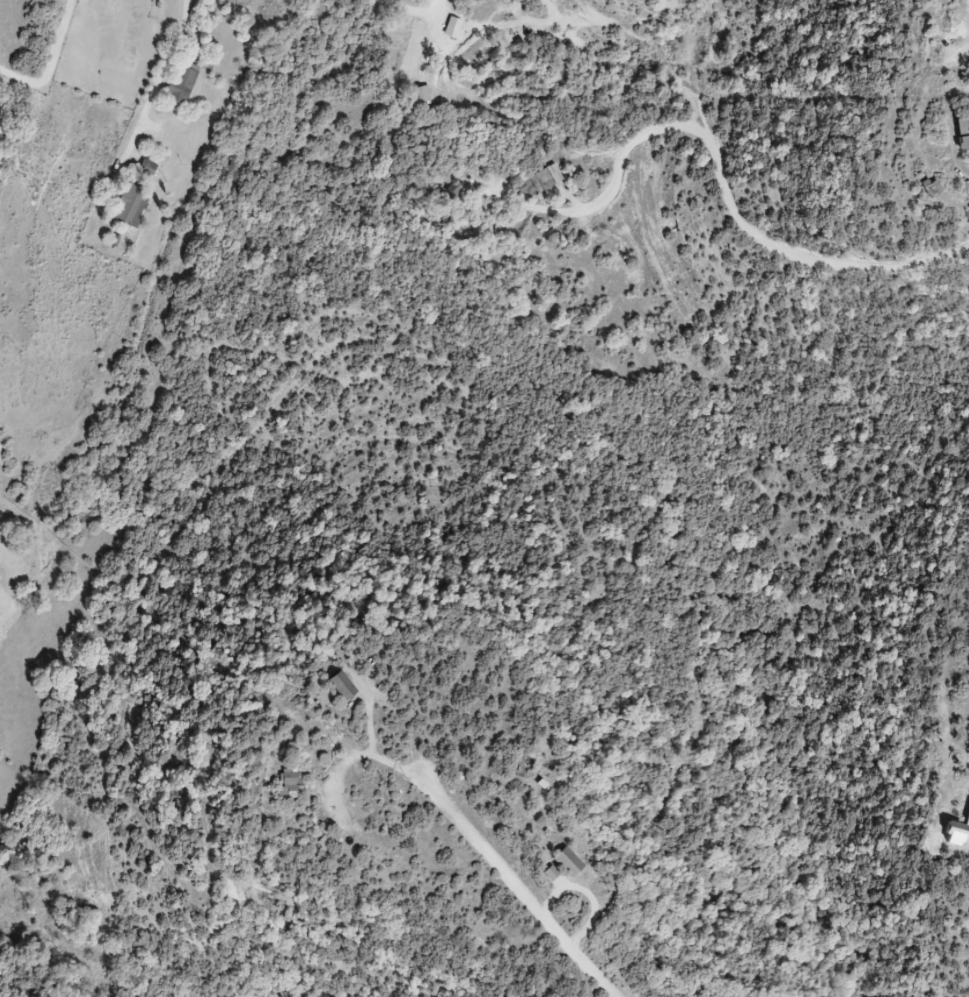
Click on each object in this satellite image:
road: (413, 8)
building: (454, 29)
road: (52, 63)
road: (161, 80)
building: (186, 83)
building: (964, 134)
road: (620, 167)
building: (150, 169)
building: (539, 185)
building: (461, 190)
building: (135, 206)
road: (766, 242)
building: (293, 785)
building: (571, 864)
road: (517, 885)

